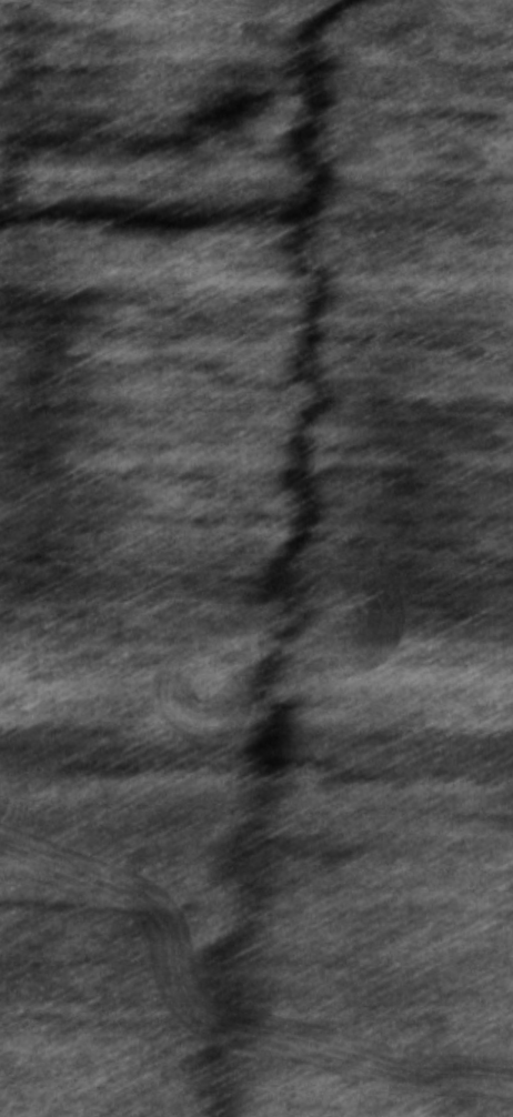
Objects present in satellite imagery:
crop: (256, 558)

